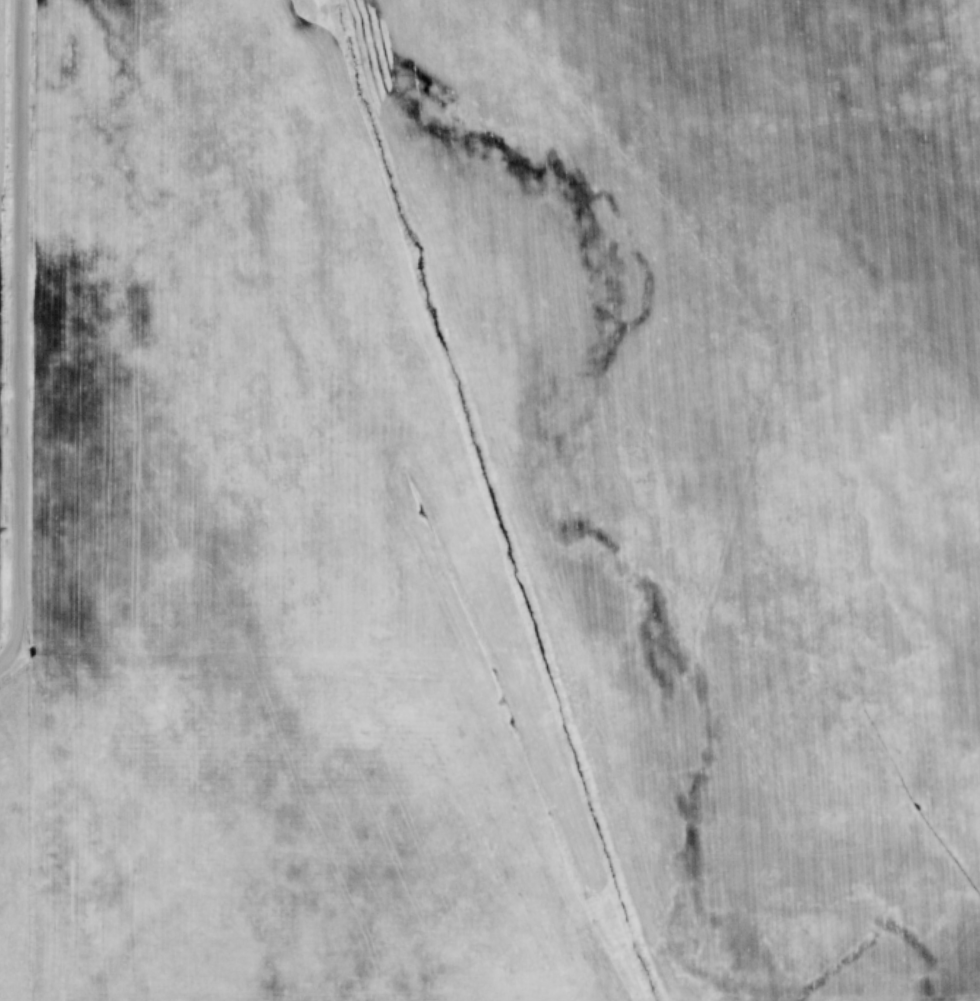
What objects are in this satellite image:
road: (38, 345)

